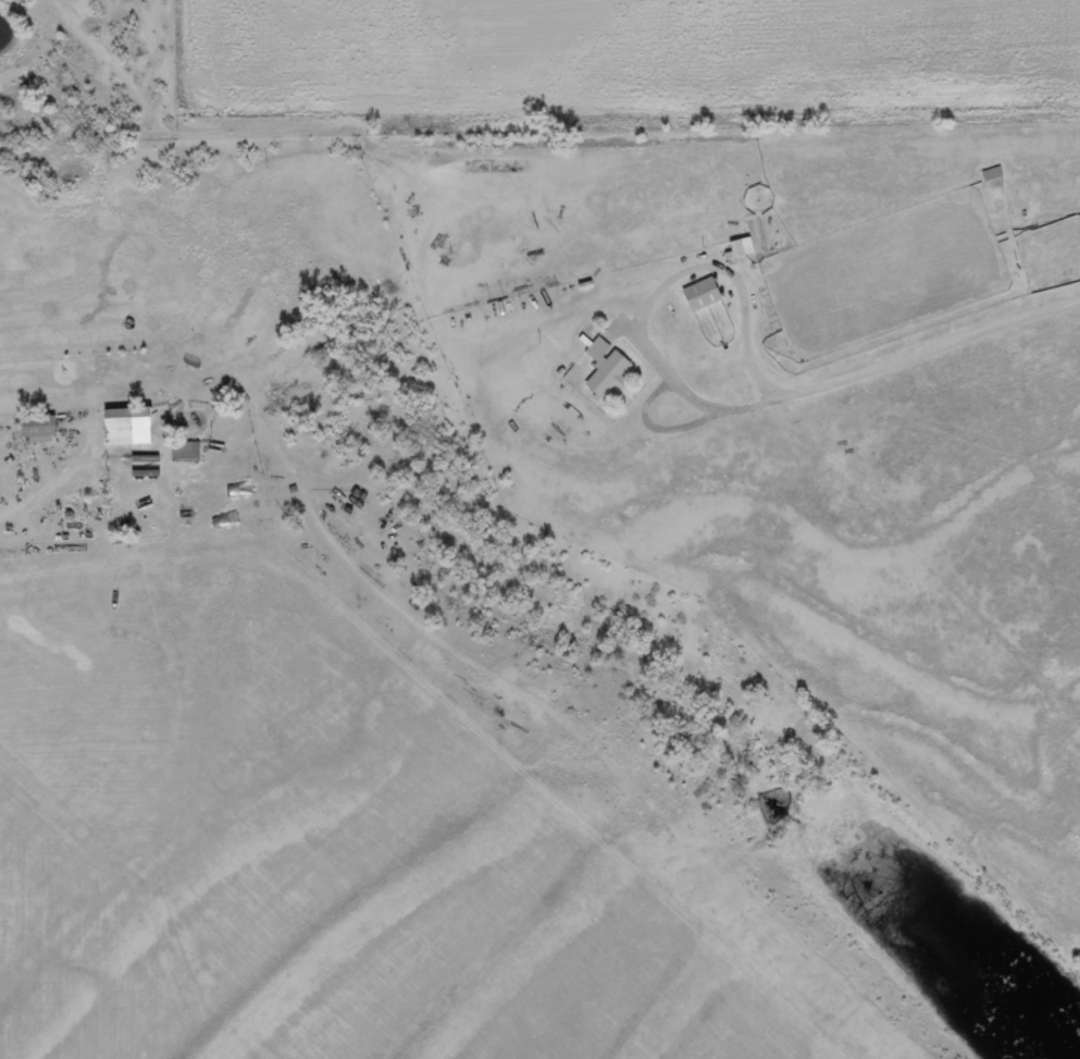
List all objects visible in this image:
building: (743, 247)
building: (704, 294)
building: (608, 369)
building: (129, 427)
building: (40, 430)
building: (187, 451)
road: (452, 718)
road: (976, 837)

